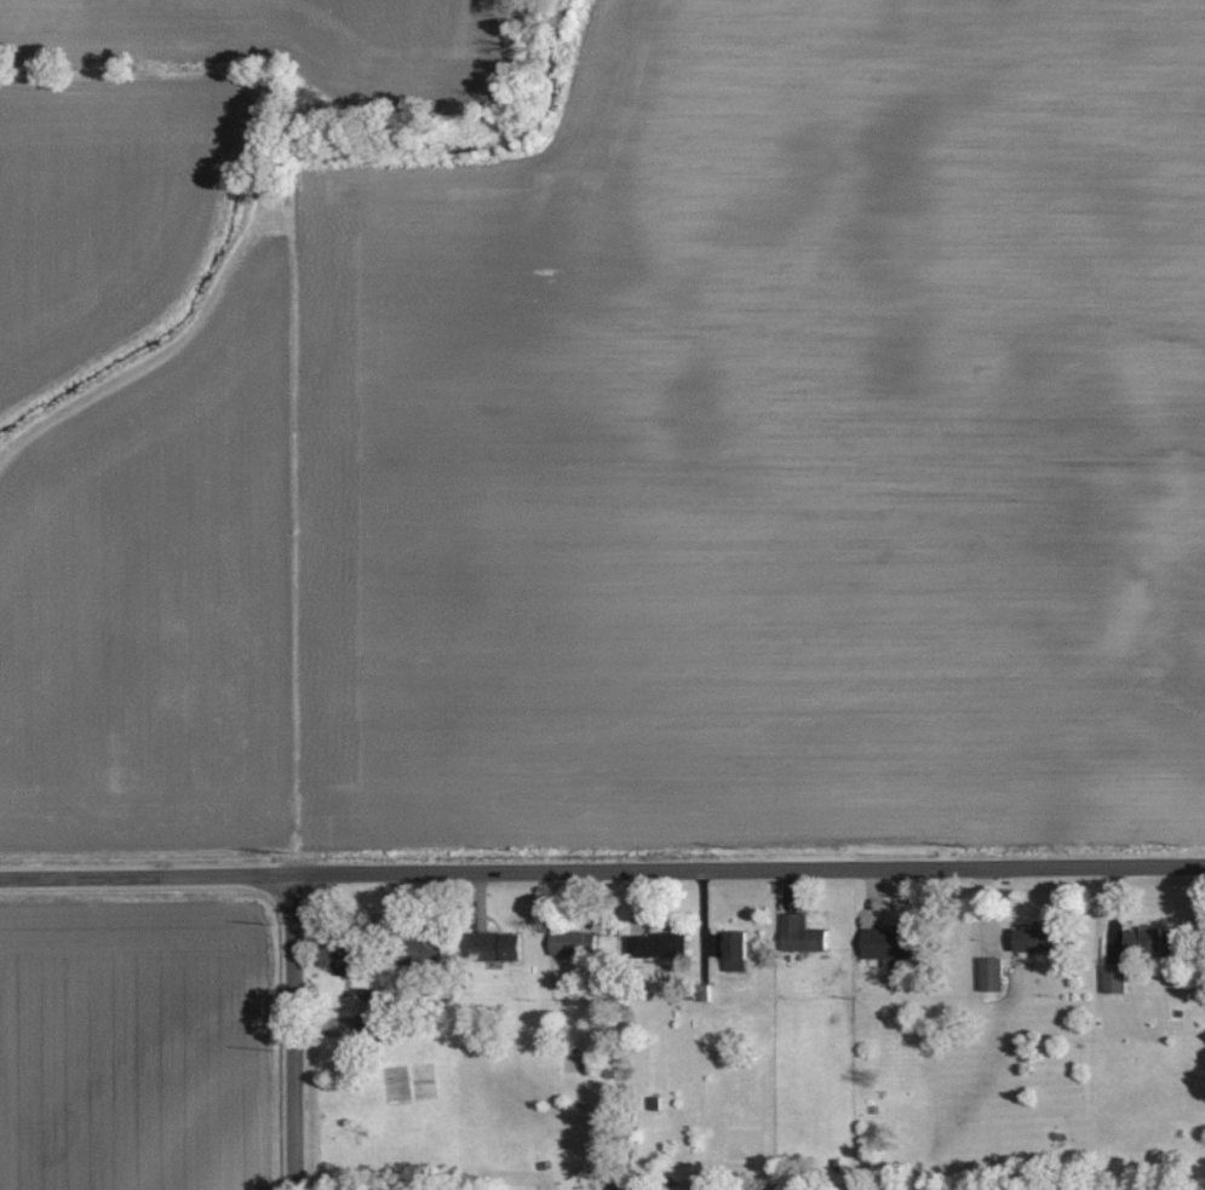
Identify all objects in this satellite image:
road: (602, 873)
building: (802, 933)
building: (1038, 938)
building: (1152, 939)
building: (568, 942)
building: (660, 943)
building: (498, 944)
building: (894, 944)
building: (736, 949)
building: (992, 972)
building: (1115, 978)
building: (367, 1024)
road: (289, 1033)

